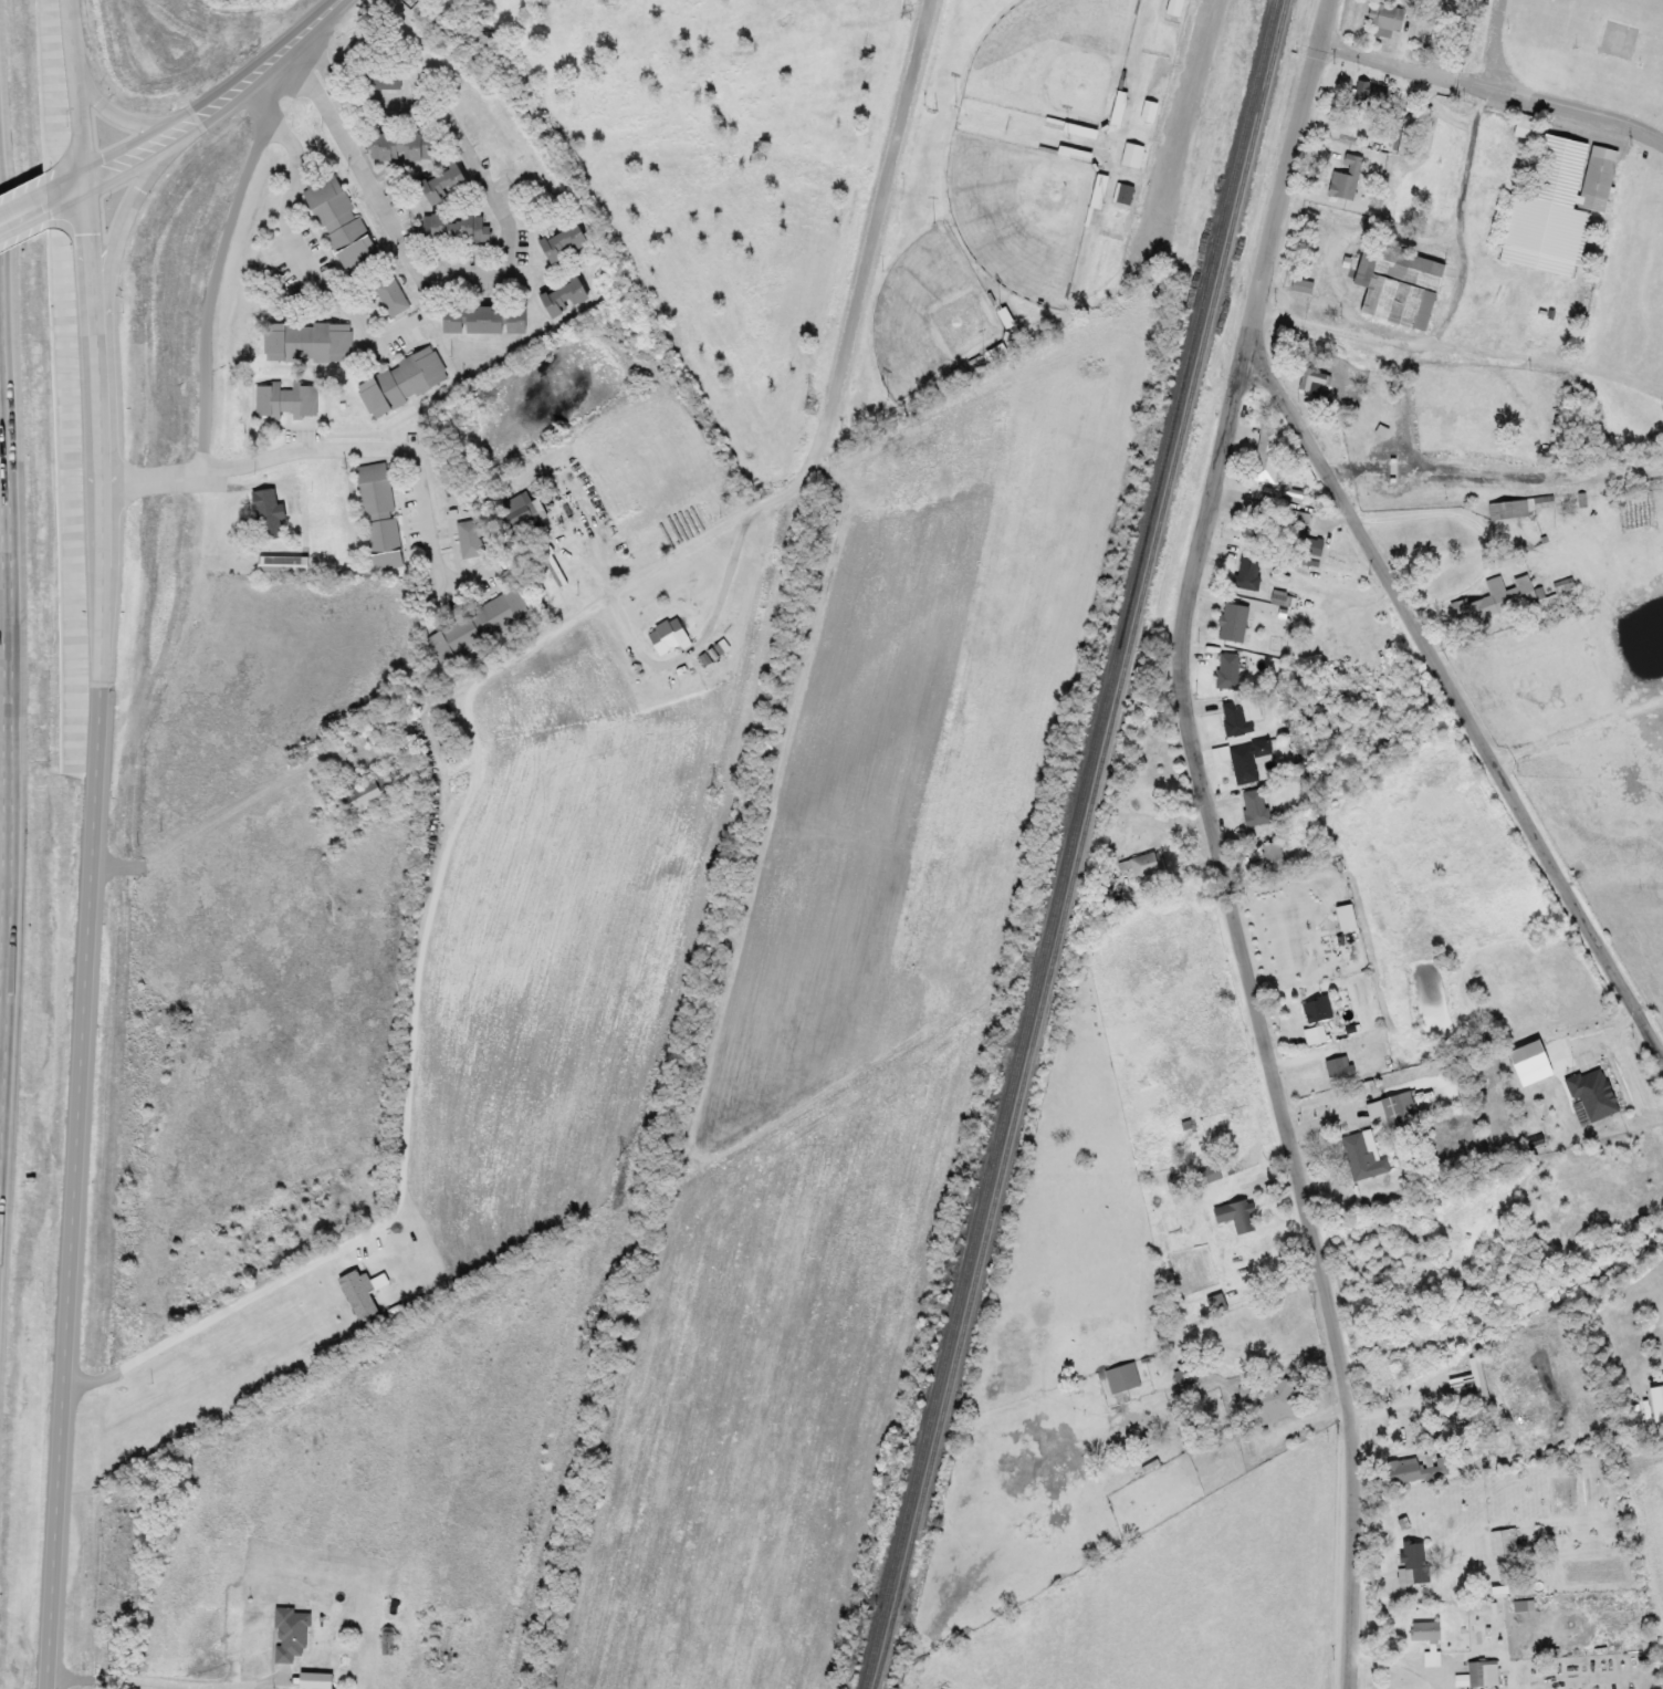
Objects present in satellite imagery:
power tower: (912, 3)
building: (1174, 7)
building: (1384, 19)
park: (1057, 56)
road: (1494, 87)
road: (218, 91)
building: (1369, 94)
building: (1119, 107)
road: (227, 108)
building: (1149, 111)
road: (113, 112)
road: (1189, 122)
building: (1526, 125)
building: (404, 146)
building: (1073, 153)
building: (1133, 154)
road: (67, 178)
building: (1346, 178)
park: (1014, 180)
road: (1467, 180)
road: (285, 181)
building: (448, 183)
building: (1098, 190)
building: (1125, 192)
building: (1563, 197)
road: (23, 200)
road: (70, 200)
road: (376, 209)
park: (1022, 210)
road: (877, 219)
building: (341, 221)
road: (24, 222)
building: (457, 229)
building: (566, 242)
road: (113, 262)
building: (1395, 284)
building: (567, 295)
building: (390, 296)
park: (932, 314)
building: (489, 319)
road: (1339, 326)
building: (308, 342)
building: (1315, 378)
building: (402, 383)
building: (285, 399)
power tower: (806, 403)
building: (1268, 456)
road: (252, 460)
building: (1656, 481)
building: (374, 491)
building: (1546, 501)
building: (1512, 508)
building: (269, 514)
building: (517, 515)
building: (1300, 532)
building: (470, 539)
building: (384, 543)
building: (284, 564)
building: (1248, 570)
building: (553, 571)
building: (1498, 600)
building: (1551, 604)
building: (1237, 622)
building: (480, 626)
building: (668, 635)
road: (7, 669)
building: (1228, 669)
road: (1457, 701)
building: (1236, 718)
building: (1246, 763)
crop: (1582, 769)
power tower: (713, 784)
building: (368, 793)
building: (1255, 806)
road: (206, 813)
road: (1221, 841)
road: (91, 844)
railway: (1071, 844)
railway: (1081, 844)
building: (1274, 853)
building: (1148, 863)
crop: (1455, 906)
building: (1319, 1008)
crop: (850, 1025)
building: (1341, 1065)
building: (1594, 1092)
building: (1401, 1106)
building: (1364, 1155)
power tower: (621, 1166)
building: (1236, 1213)
building: (1216, 1302)
building: (1474, 1312)
building: (1125, 1376)
building: (1270, 1397)
building: (1655, 1417)
building: (1414, 1469)
power tower: (533, 1537)
building: (1506, 1540)
building: (1415, 1557)
building: (1425, 1629)
building: (289, 1635)
building: (387, 1643)
building: (1433, 1657)
building: (1484, 1671)

